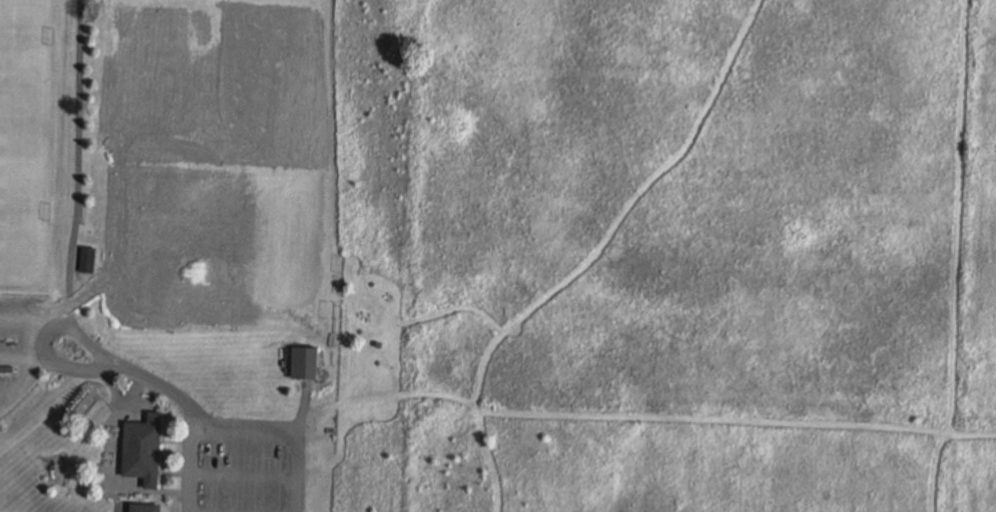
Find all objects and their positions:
park: (276, 2)
park: (26, 58)
park: (211, 90)
road: (77, 163)
park: (24, 206)
park: (162, 254)
park: (215, 254)
road: (595, 256)
road: (957, 257)
building: (87, 259)
road: (20, 315)
road: (408, 323)
road: (72, 327)
parking lot: (21, 343)
building: (304, 362)
road: (30, 366)
road: (302, 406)
road: (319, 409)
road: (664, 419)
road: (282, 430)
building: (143, 448)
parking lot: (239, 465)
road: (190, 469)
road: (241, 476)

